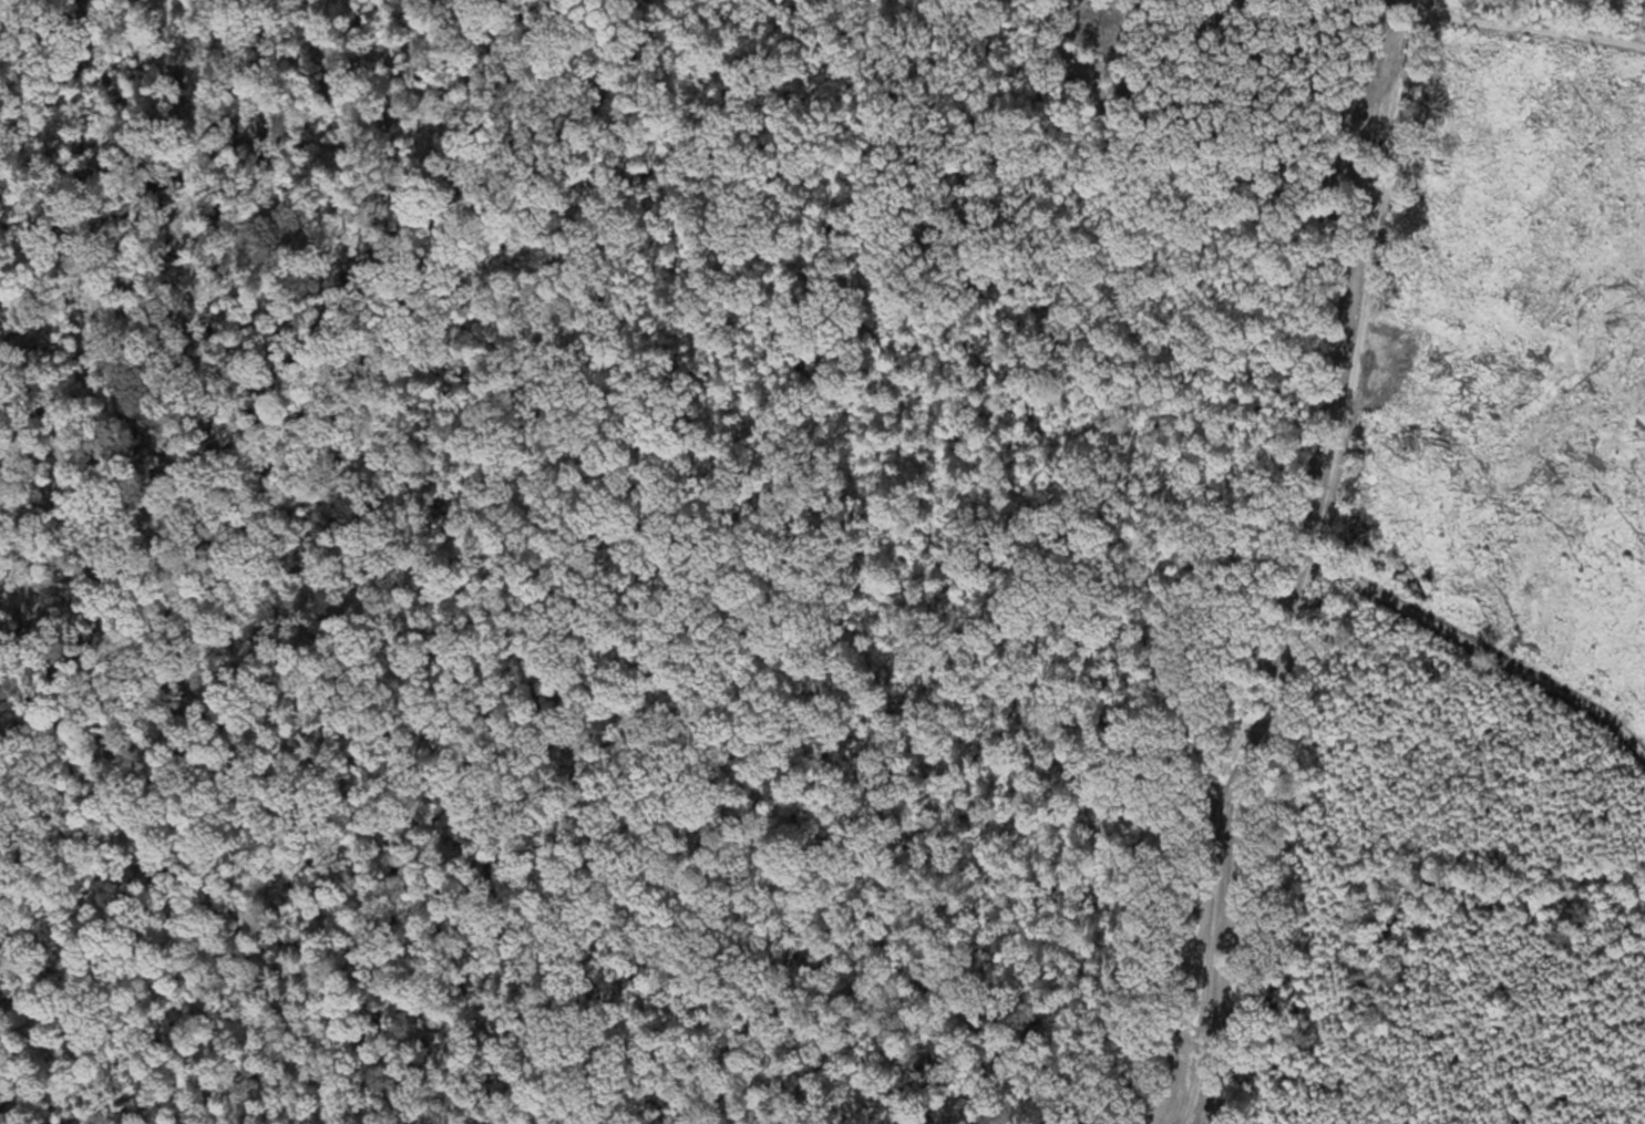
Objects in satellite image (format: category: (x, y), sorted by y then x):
road: (1318, 568)
road: (1491, 689)

